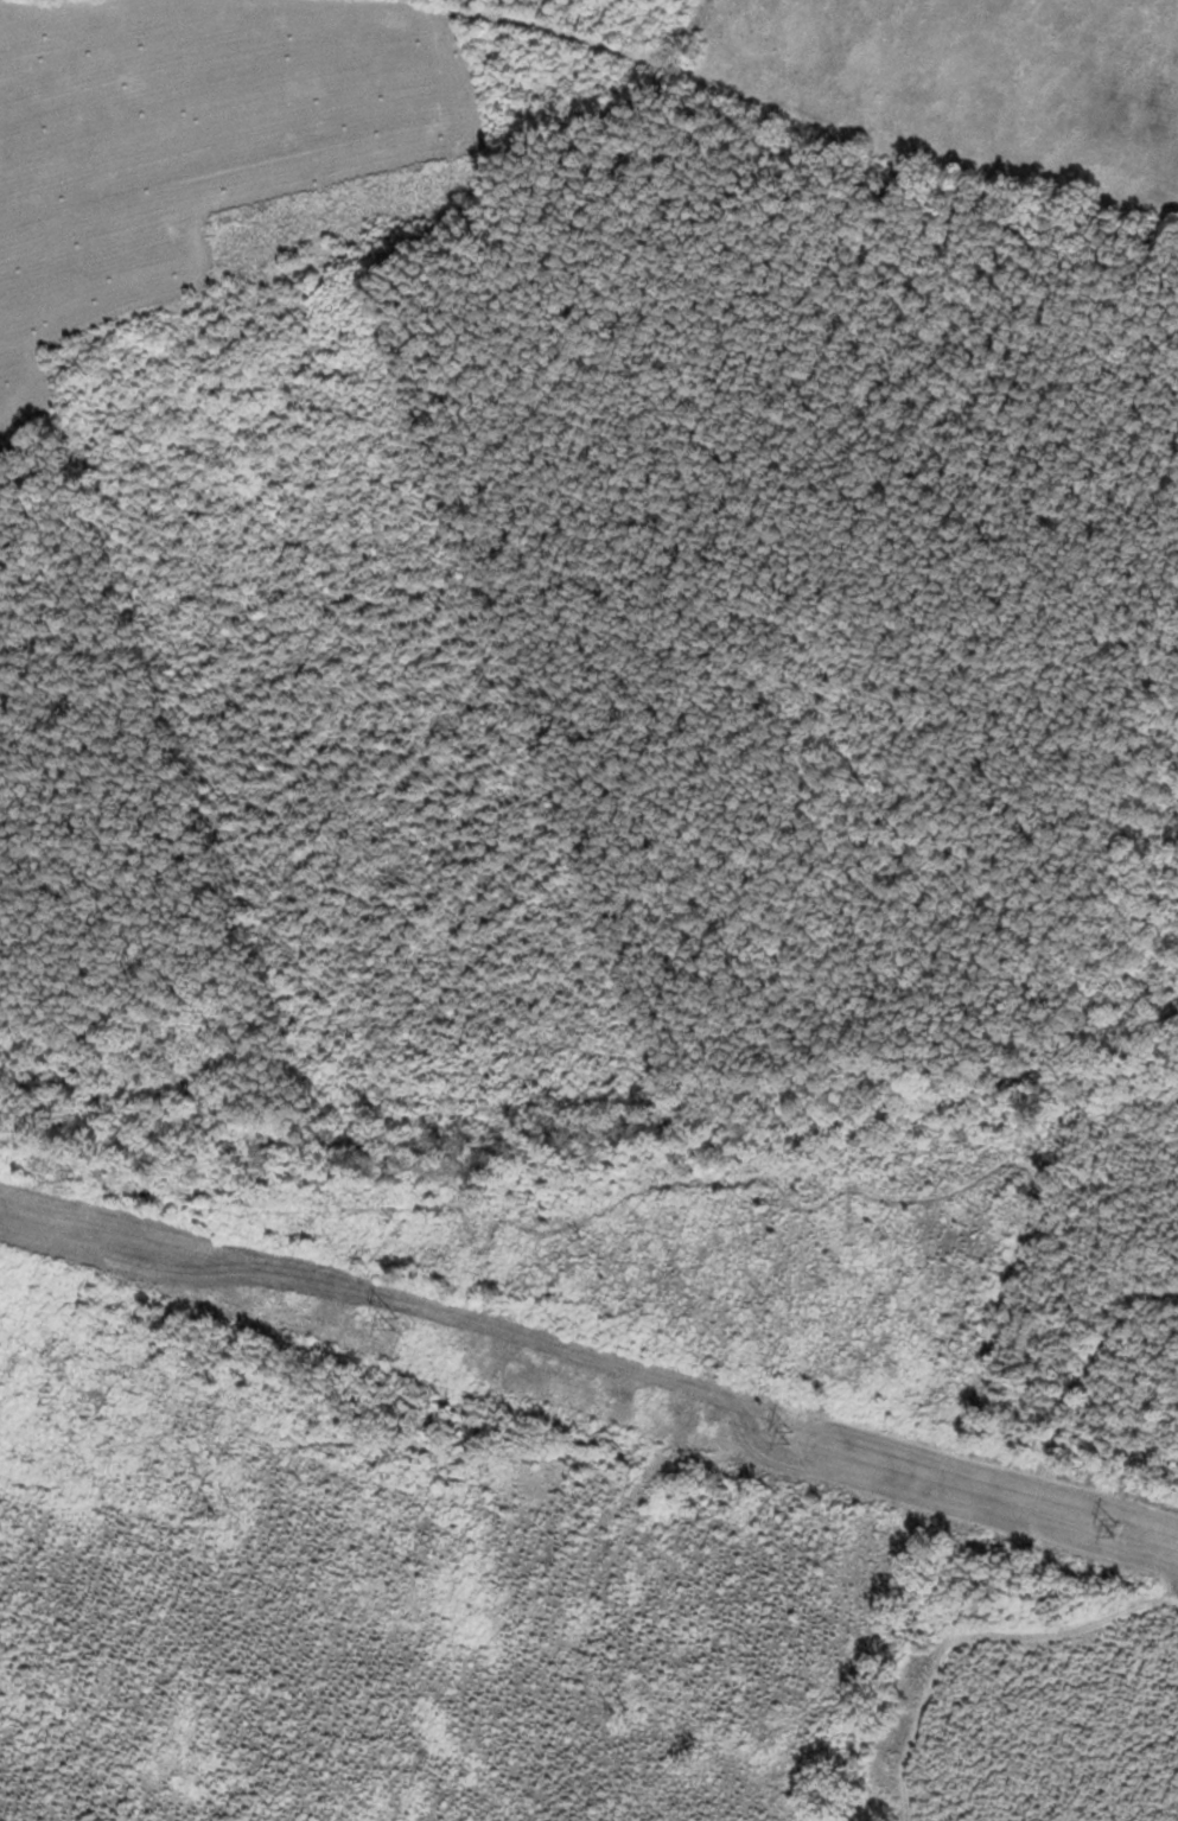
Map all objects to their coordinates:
power tower: (401, 1323)
power tower: (792, 1437)
power tower: (1117, 1527)

